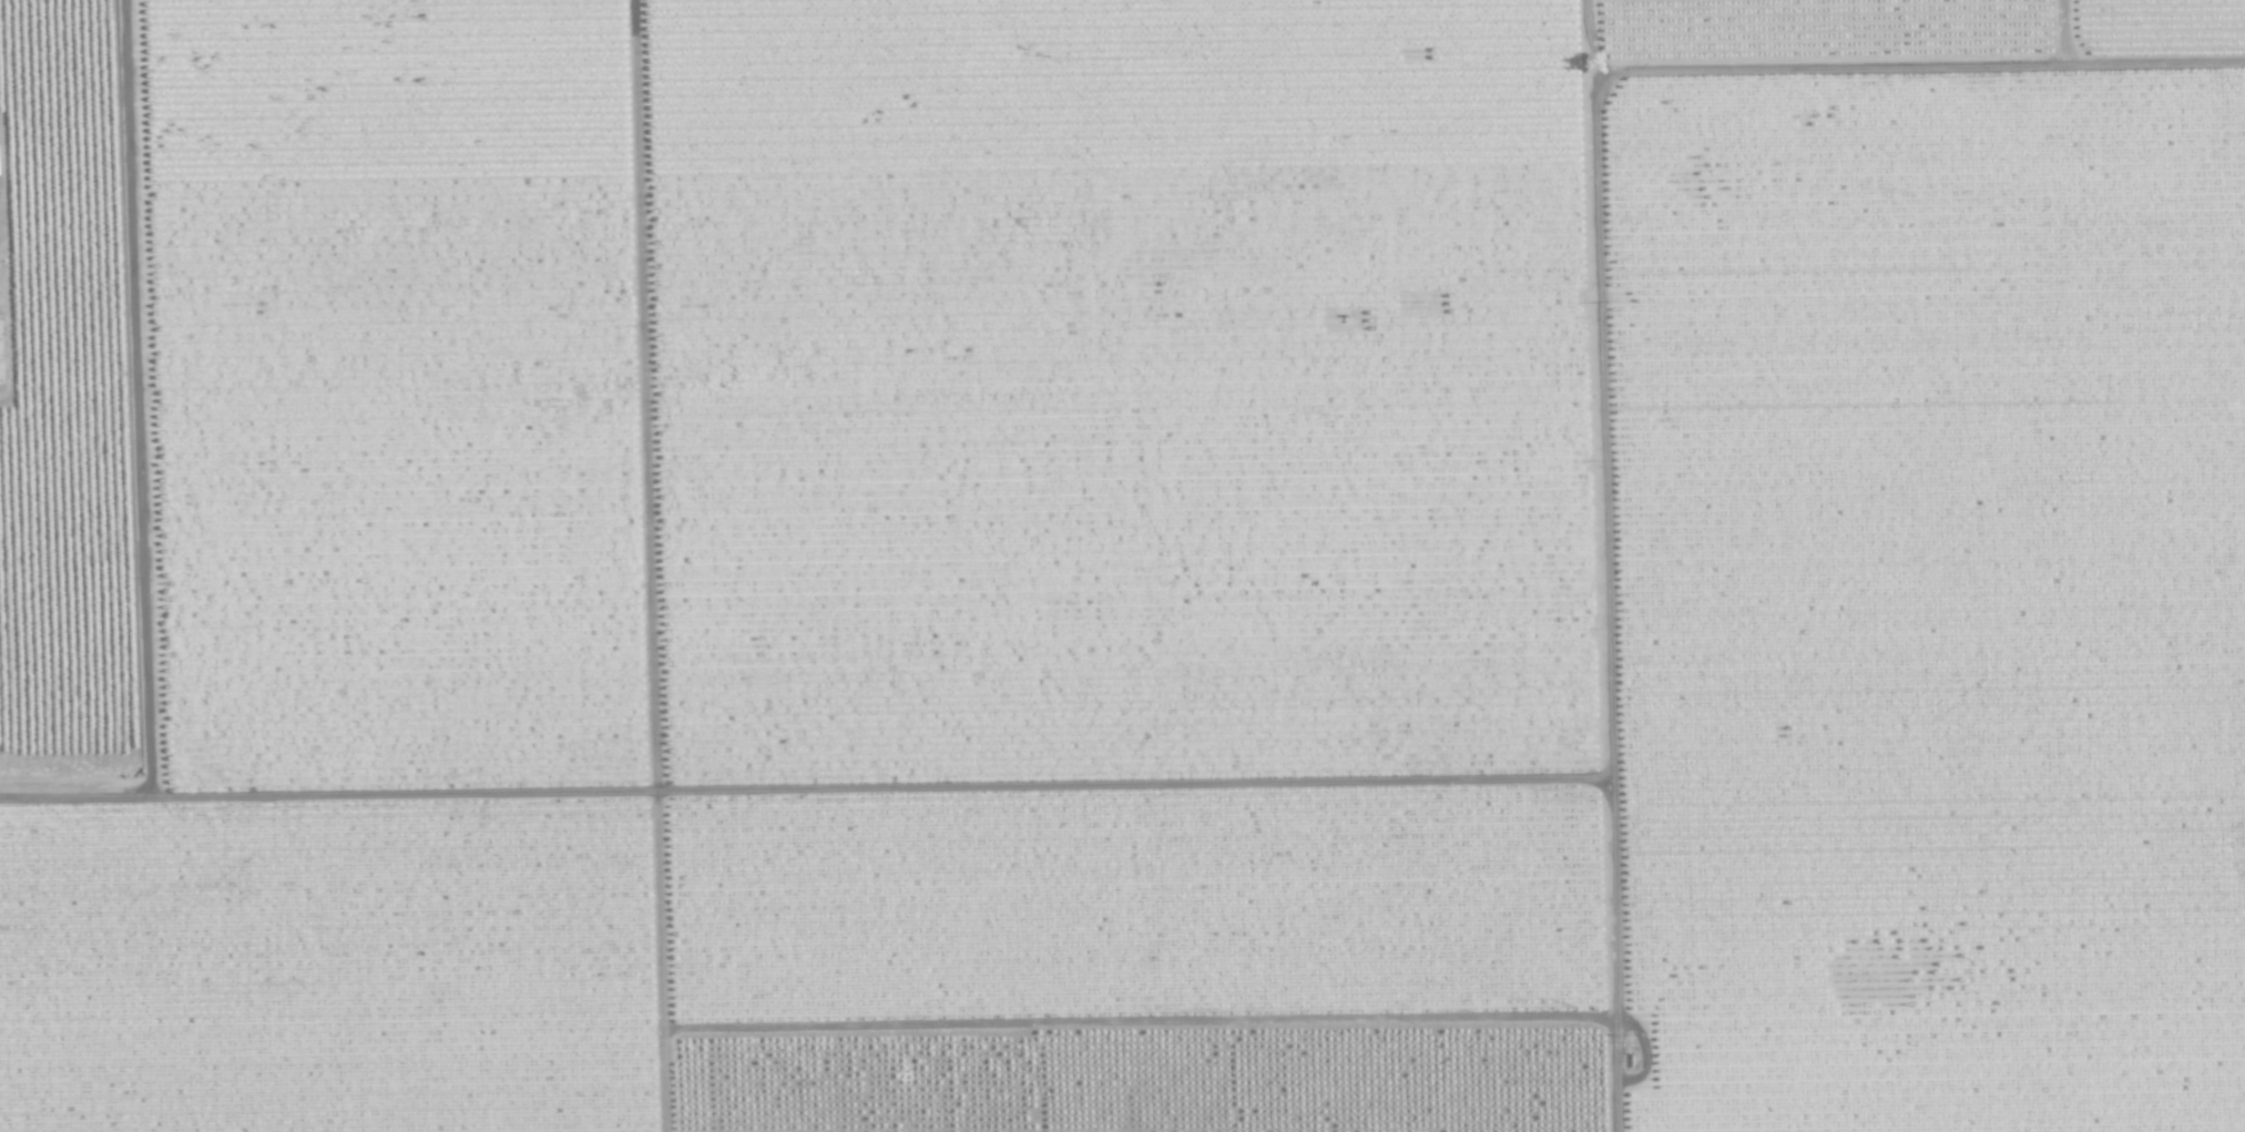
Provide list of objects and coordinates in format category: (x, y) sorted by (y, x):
road: (2067, 23)

